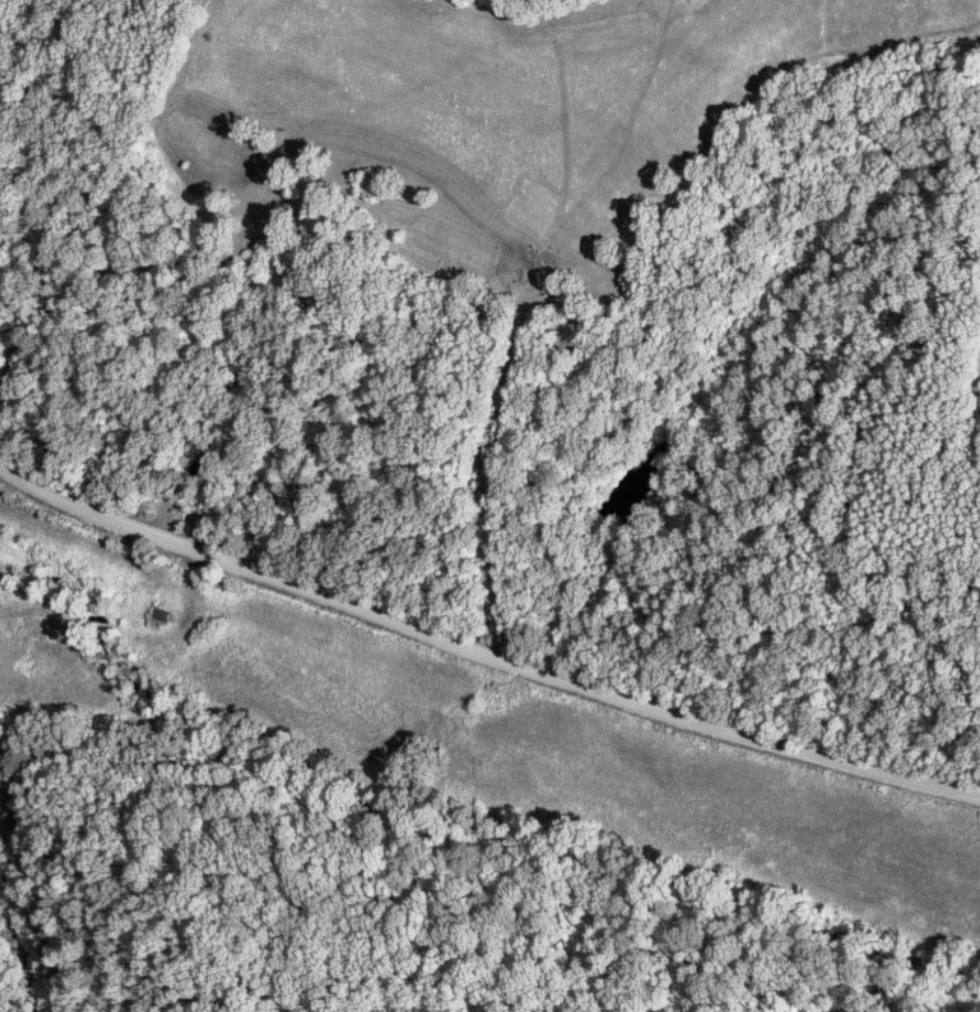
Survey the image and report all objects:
road: (480, 653)

